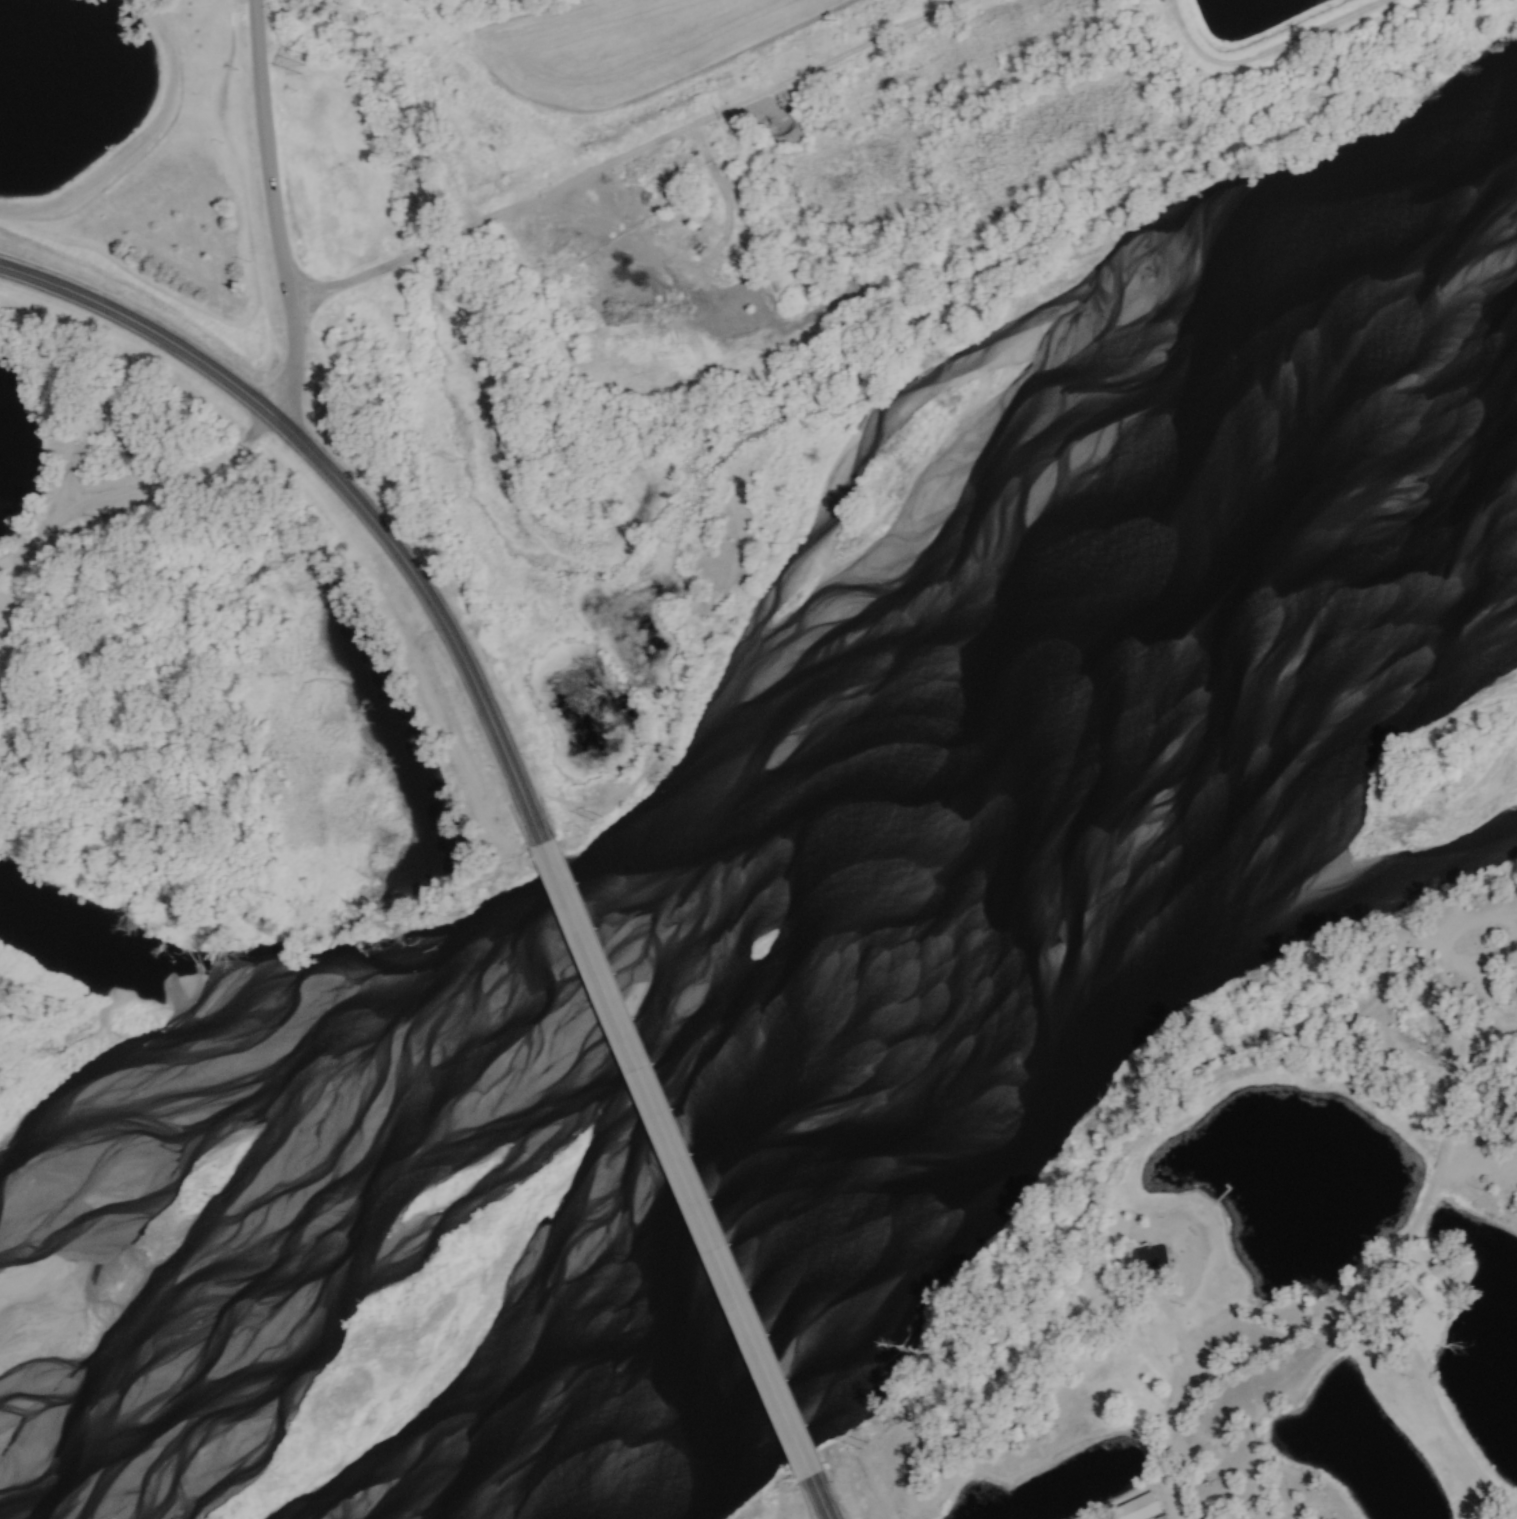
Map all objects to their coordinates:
road: (1258, 56)
road: (136, 142)
road: (630, 157)
road: (271, 212)
road: (336, 488)
road: (101, 495)
river: (731, 832)
road: (1477, 1042)
road: (675, 1158)
road: (1322, 1317)
road: (1432, 1406)
road: (817, 1497)
building: (1141, 1508)

